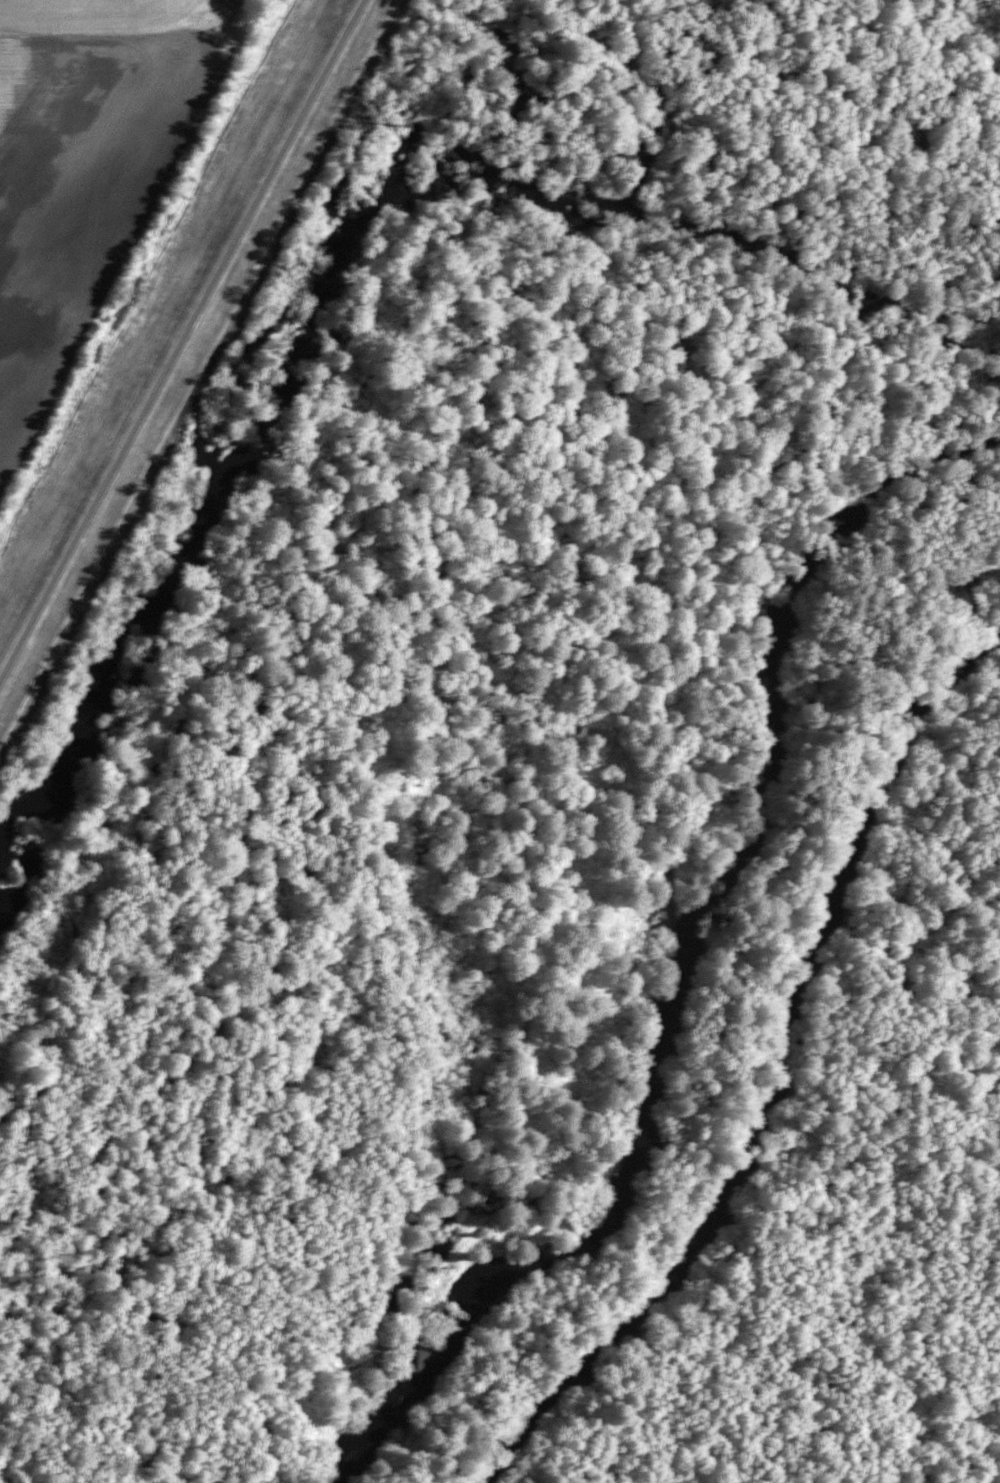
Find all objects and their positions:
road: (603, 50)
road: (183, 338)
river: (683, 962)
river: (764, 1071)

